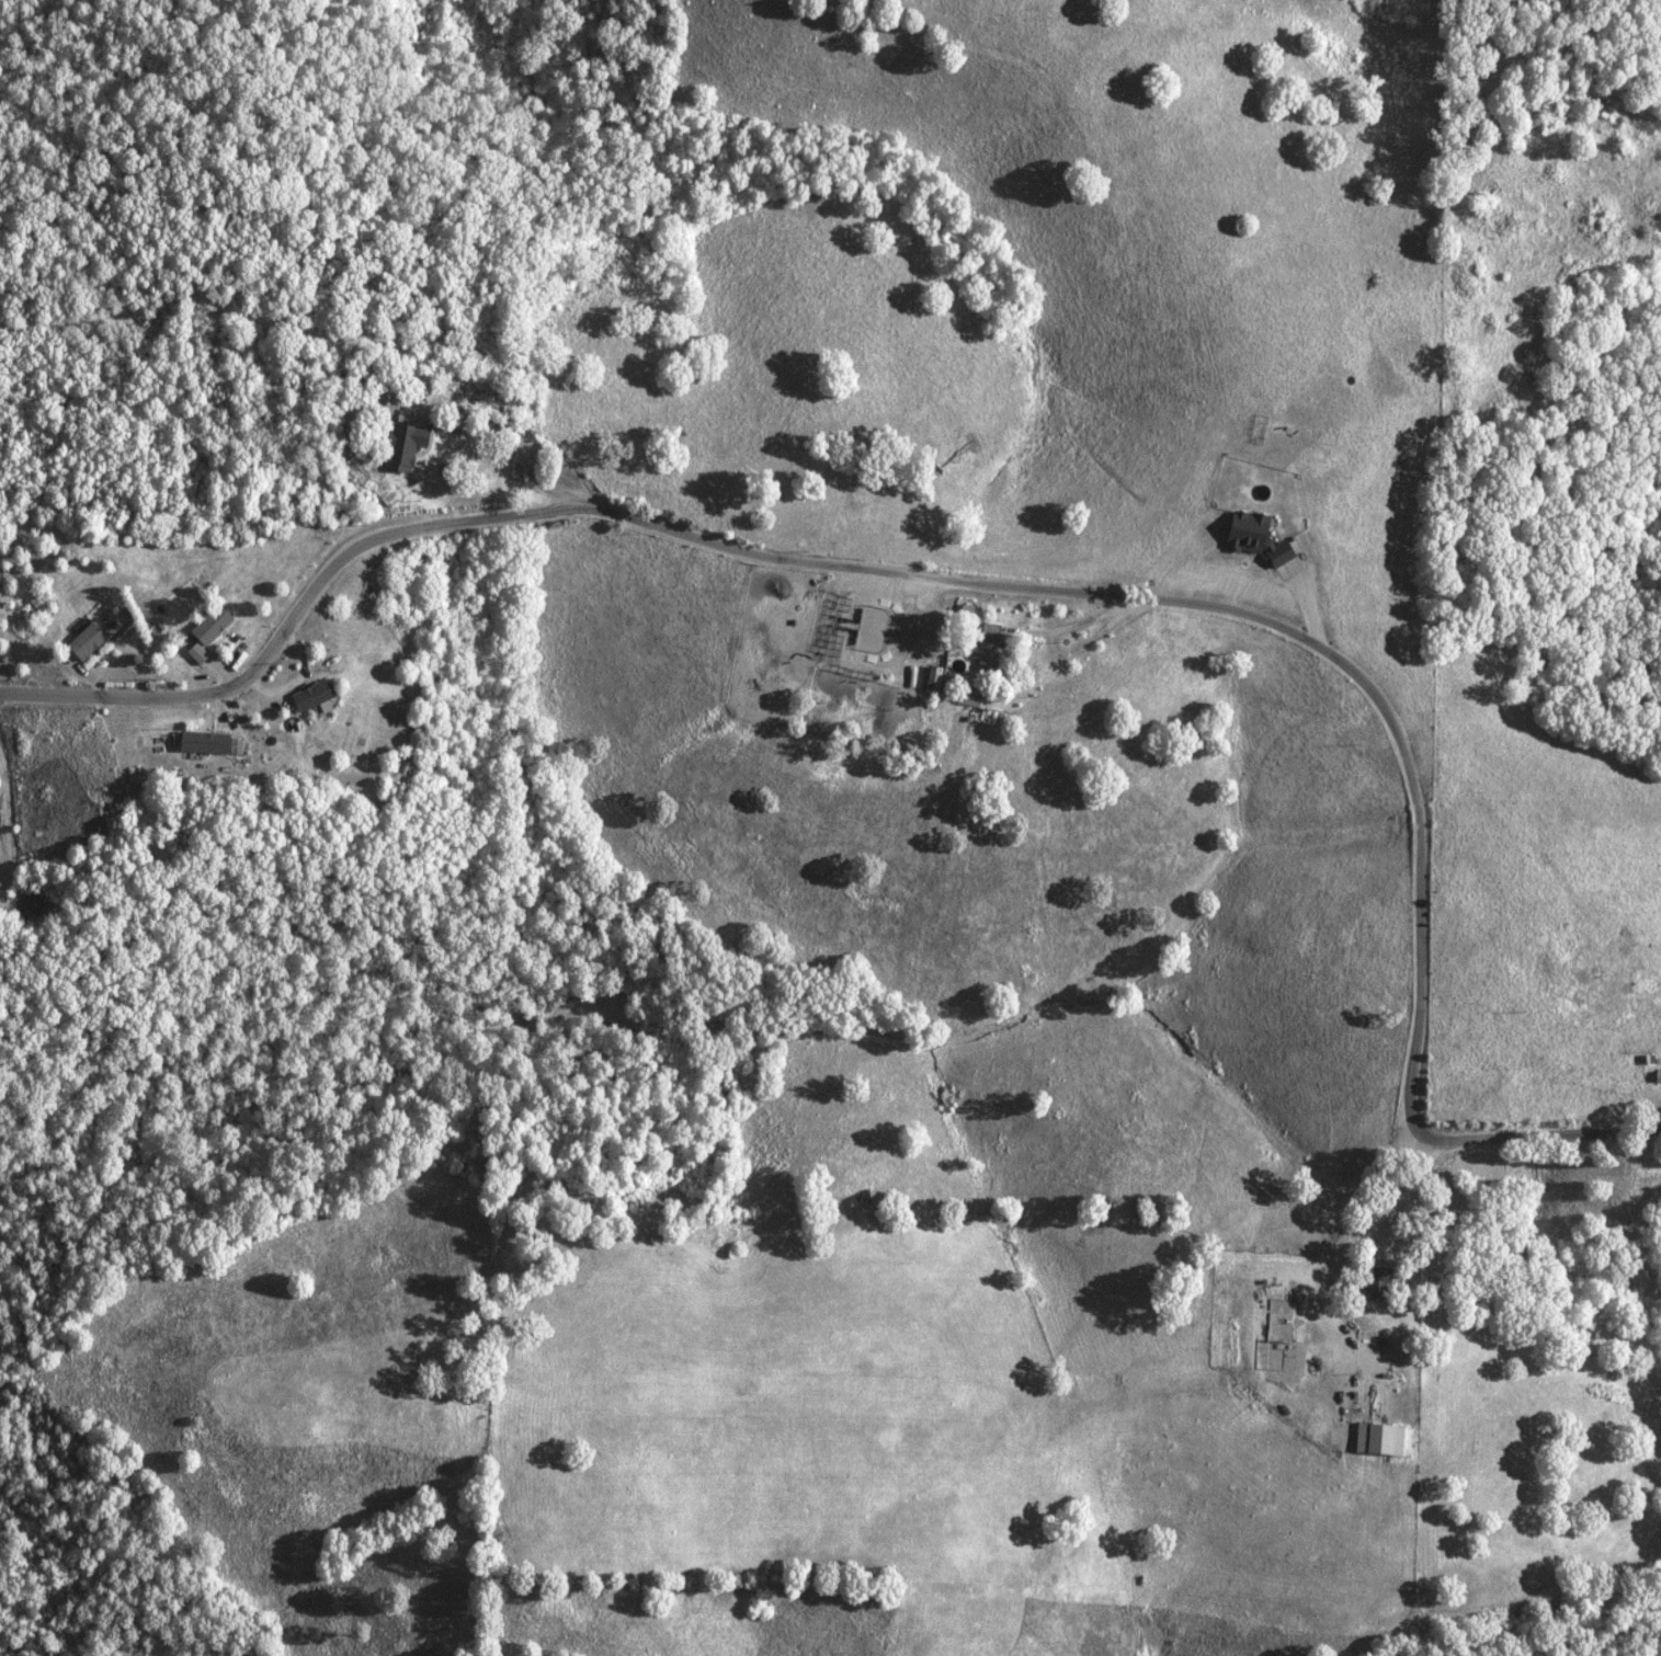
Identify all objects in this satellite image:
building: (407, 444)
building: (1249, 536)
road: (293, 617)
building: (215, 624)
building: (89, 640)
road: (1321, 643)
building: (983, 651)
building: (315, 694)
building: (964, 695)
building: (212, 742)
building: (30, 901)
building: (1654, 1074)
road: (1364, 1237)
building: (1378, 1280)
building: (1375, 1437)

